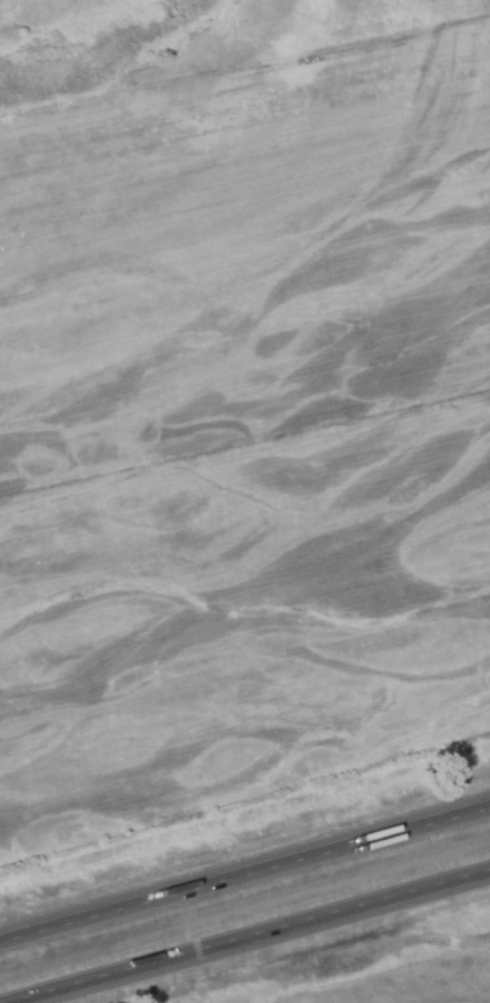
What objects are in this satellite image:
road: (245, 879)
road: (256, 938)

